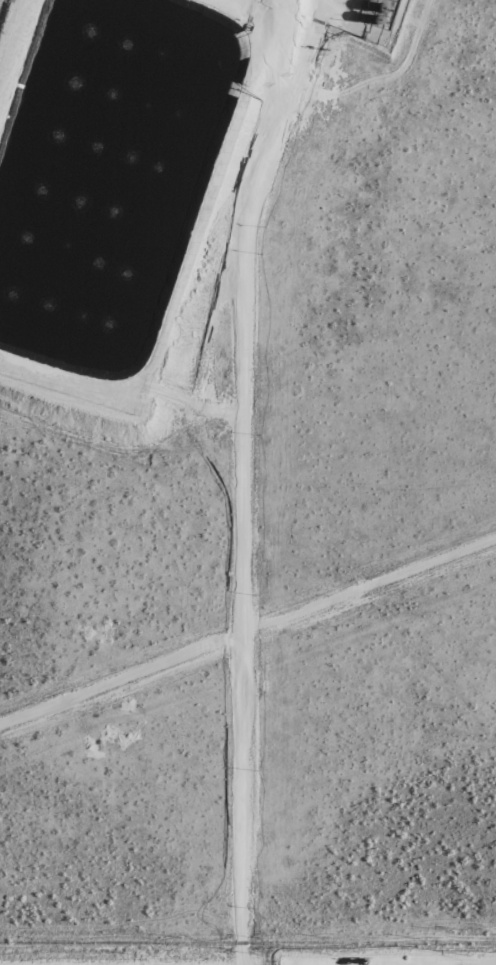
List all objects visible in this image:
road: (245, 478)

